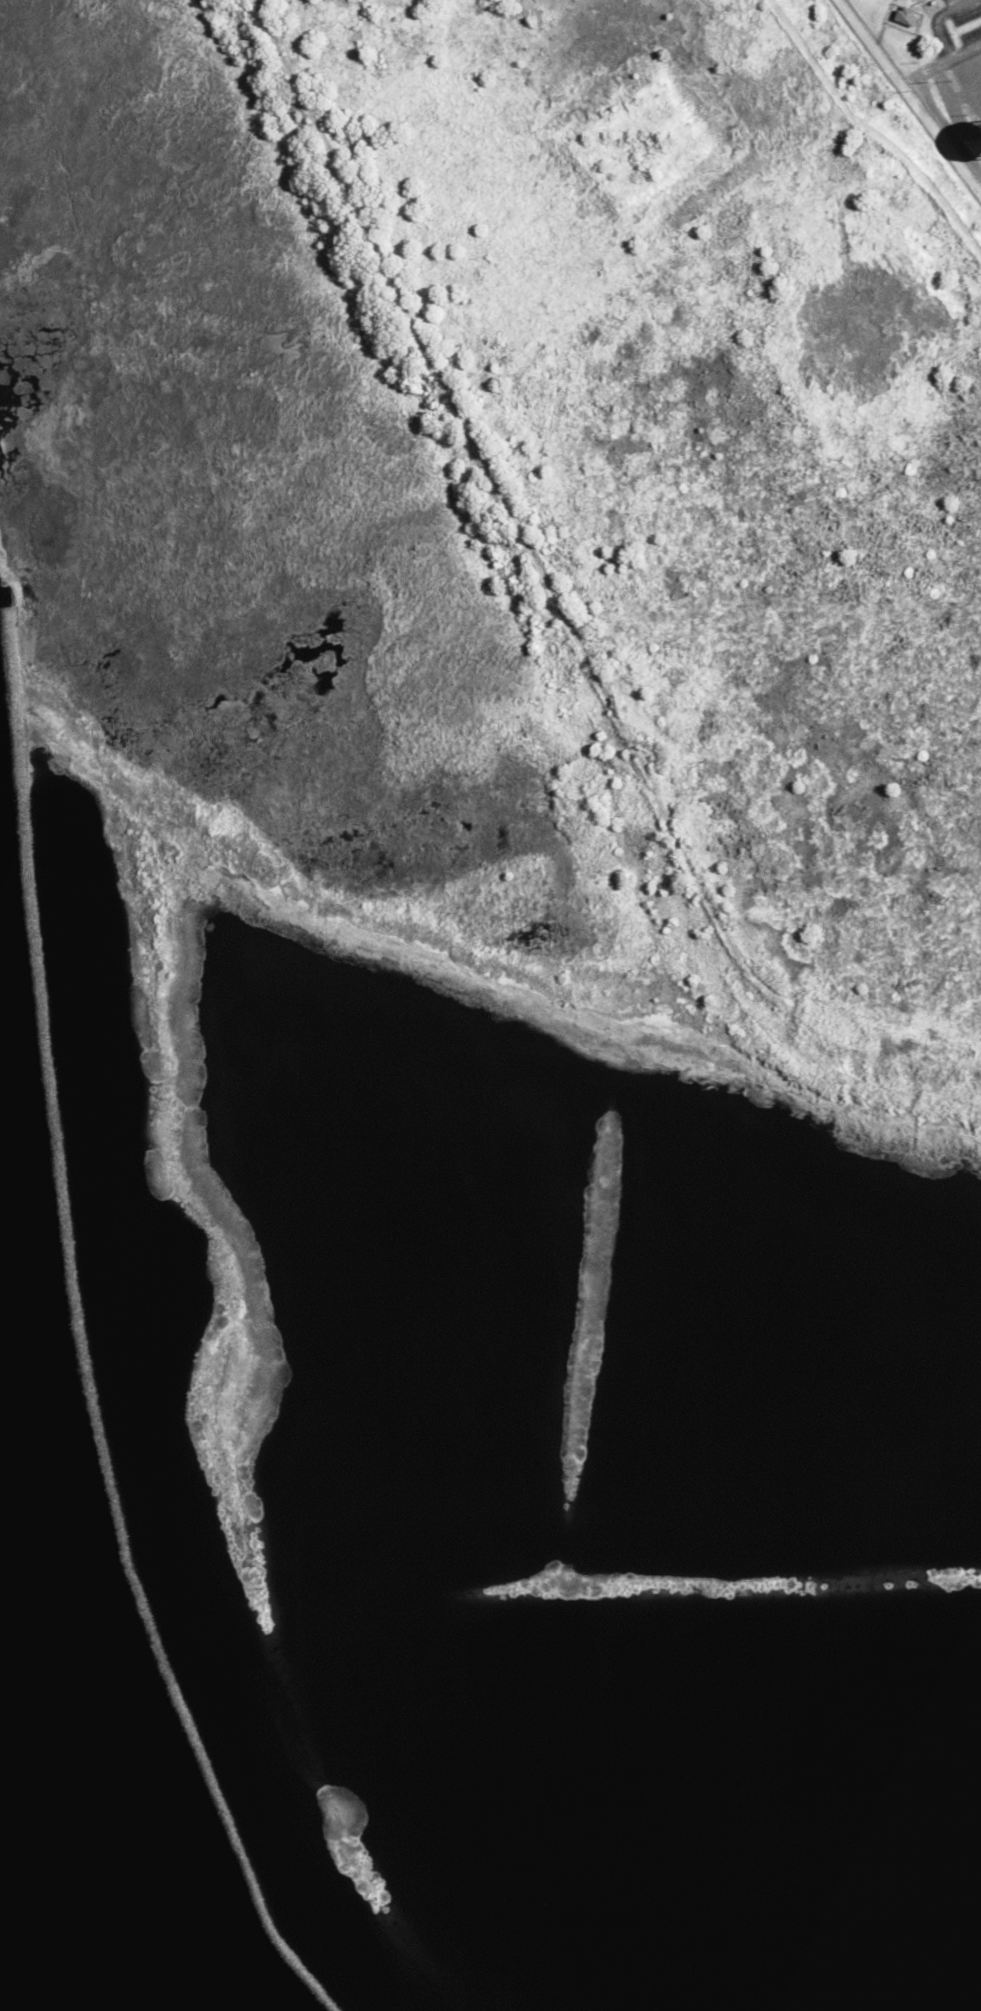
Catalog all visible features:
building: (905, 16)
road: (937, 81)

